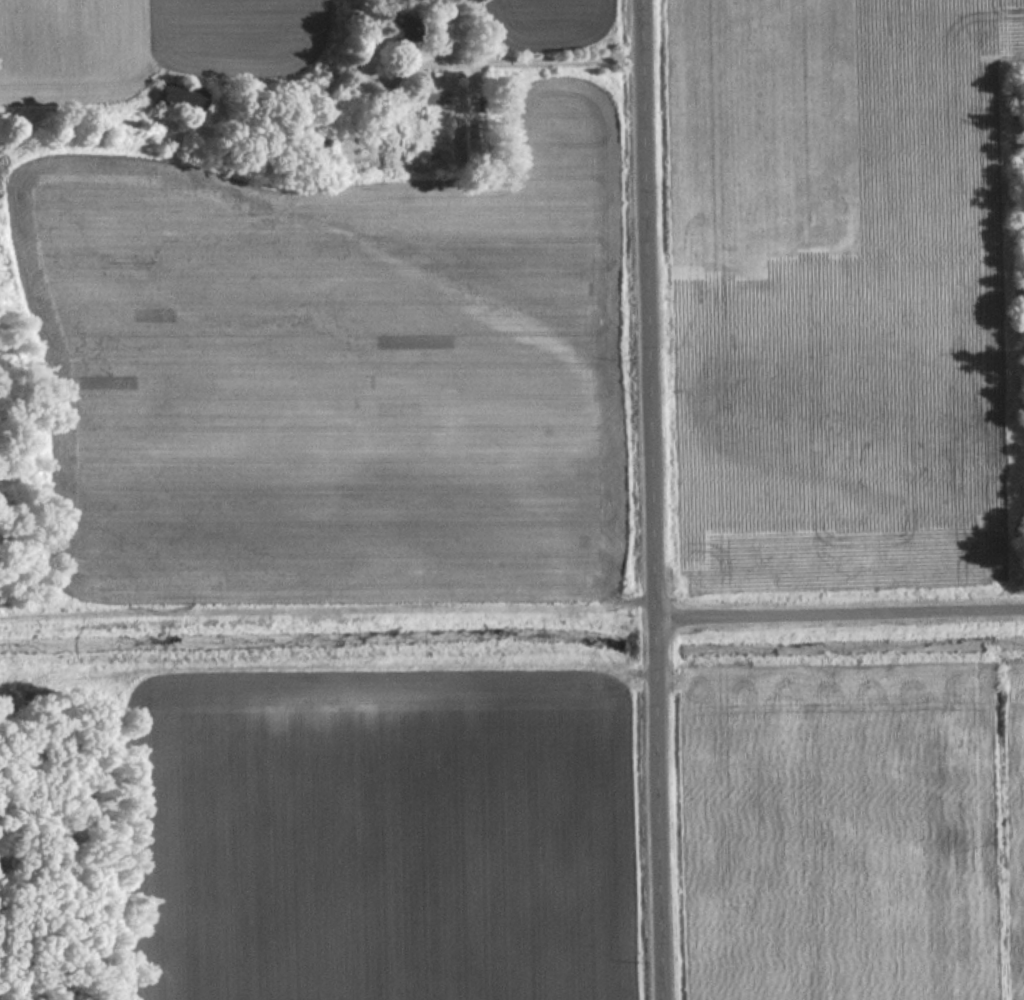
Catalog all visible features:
building: (405, 30)
building: (184, 98)
building: (475, 145)
road: (651, 500)
road: (326, 609)
road: (840, 613)

